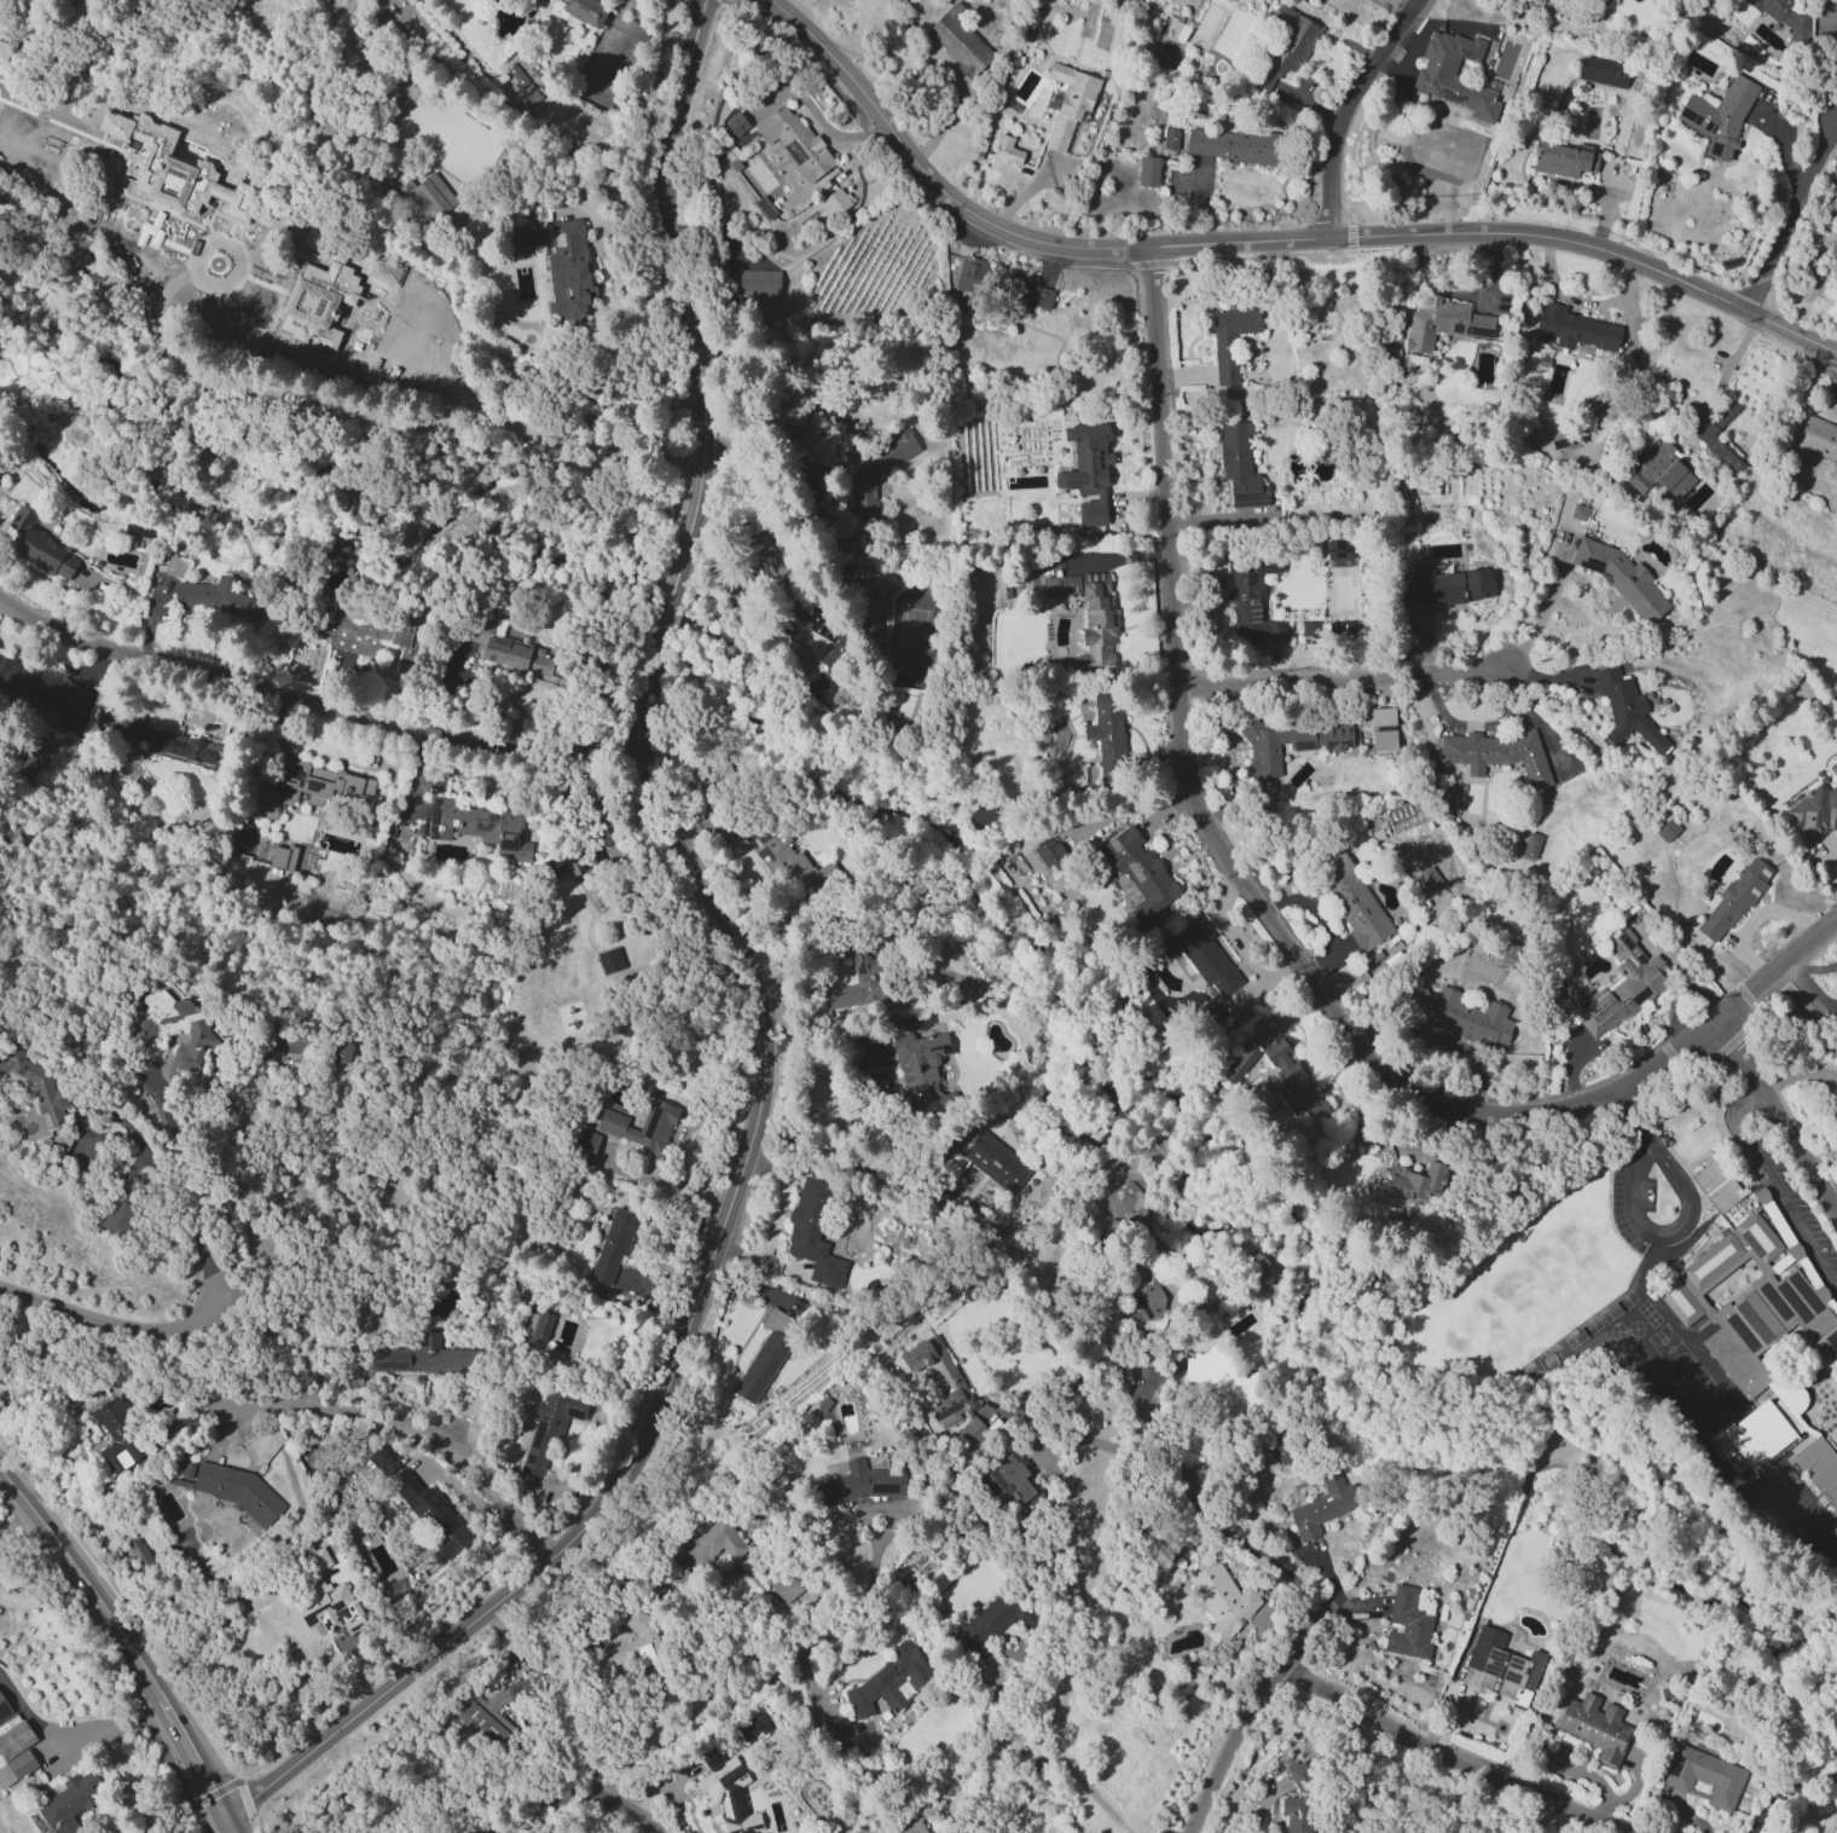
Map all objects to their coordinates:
building: (1784, 17)
building: (958, 41)
building: (1287, 44)
building: (5, 50)
road: (1314, 64)
building: (1435, 71)
building: (1606, 73)
building: (521, 82)
building: (1068, 103)
road: (1346, 109)
road: (816, 115)
building: (1719, 116)
building: (735, 123)
building: (1170, 138)
building: (794, 140)
building: (1230, 145)
building: (1007, 150)
building: (1563, 158)
building: (167, 167)
building: (1147, 170)
building: (429, 196)
building: (834, 202)
road: (1203, 204)
road: (1787, 213)
building: (527, 236)
building: (315, 237)
road: (1267, 241)
building: (568, 270)
building: (384, 271)
building: (969, 276)
building: (758, 283)
building: (1036, 296)
building: (318, 302)
building: (1443, 324)
building: (1574, 329)
building: (1229, 340)
road: (355, 354)
road: (1727, 366)
building: (1816, 438)
building: (1719, 450)
building: (1240, 466)
building: (1086, 470)
building: (1661, 472)
building: (876, 474)
building: (1578, 511)
building: (40, 547)
building: (346, 548)
building: (1338, 551)
building: (175, 566)
building: (1621, 578)
building: (1449, 585)
building: (1250, 597)
building: (218, 600)
road: (1545, 608)
building: (1089, 613)
building: (367, 631)
building: (821, 631)
building: (518, 657)
road: (1343, 678)
building: (58, 700)
road: (315, 705)
building: (1627, 711)
building: (1383, 728)
building: (1107, 732)
building: (168, 742)
building: (1262, 750)
building: (1495, 753)
building: (1832, 769)
building: (311, 787)
building: (1448, 797)
building: (1814, 813)
building: (479, 826)
building: (1665, 829)
building: (1530, 845)
building: (1049, 854)
building: (784, 855)
building: (282, 857)
building: (1140, 871)
building: (1425, 881)
building: (1733, 900)
building: (1352, 901)
road: (1271, 924)
building: (1201, 956)
building: (609, 960)
building: (858, 977)
building: (1616, 988)
road: (759, 991)
building: (1466, 1017)
building: (174, 1028)
road: (825, 1031)
building: (286, 1041)
building: (341, 1052)
building: (1240, 1063)
building: (921, 1069)
building: (1293, 1081)
building: (34, 1085)
road: (1626, 1112)
road: (1777, 1118)
building: (613, 1128)
building: (584, 1146)
building: (986, 1164)
road: (199, 1174)
building: (1418, 1183)
building: (1716, 1185)
road: (1772, 1187)
road: (784, 1192)
road: (170, 1195)
building: (1125, 1202)
building: (118, 1214)
road: (1668, 1228)
building: (812, 1233)
building: (1758, 1237)
building: (614, 1244)
building: (1711, 1260)
building: (1274, 1283)
building: (1146, 1295)
building: (1679, 1301)
road: (124, 1325)
building: (540, 1328)
building: (764, 1355)
building: (422, 1357)
building: (1215, 1372)
road: (1066, 1386)
building: (945, 1389)
building: (549, 1429)
road: (413, 1432)
building: (116, 1438)
building: (382, 1459)
building: (1819, 1469)
building: (1007, 1481)
building: (860, 1484)
building: (233, 1488)
building: (1321, 1505)
building: (430, 1514)
building: (1833, 1532)
road: (1239, 1537)
building: (708, 1544)
building: (139, 1554)
building: (783, 1584)
building: (324, 1597)
building: (1222, 1602)
building: (991, 1621)
road: (373, 1624)
building: (1407, 1625)
road: (129, 1632)
building: (631, 1643)
road: (106, 1664)
building: (1500, 1667)
road: (771, 1672)
building: (888, 1682)
road: (569, 1701)
building: (476, 1711)
building: (5, 1715)
building: (752, 1725)
building: (1594, 1727)
crop: (62, 1729)
building: (1836, 1730)
building: (838, 1733)
road: (74, 1734)
building: (15, 1739)
road: (1230, 1752)
road: (1458, 1752)
road: (1053, 1757)
building: (16, 1768)
building: (1299, 1775)
building: (1703, 1776)
road: (546, 1780)
building: (726, 1791)
road: (1786, 1792)
building: (69, 1803)
building: (1297, 1814)
road: (233, 1823)
building: (290, 1828)
building: (912, 1828)
building: (191, 1829)

